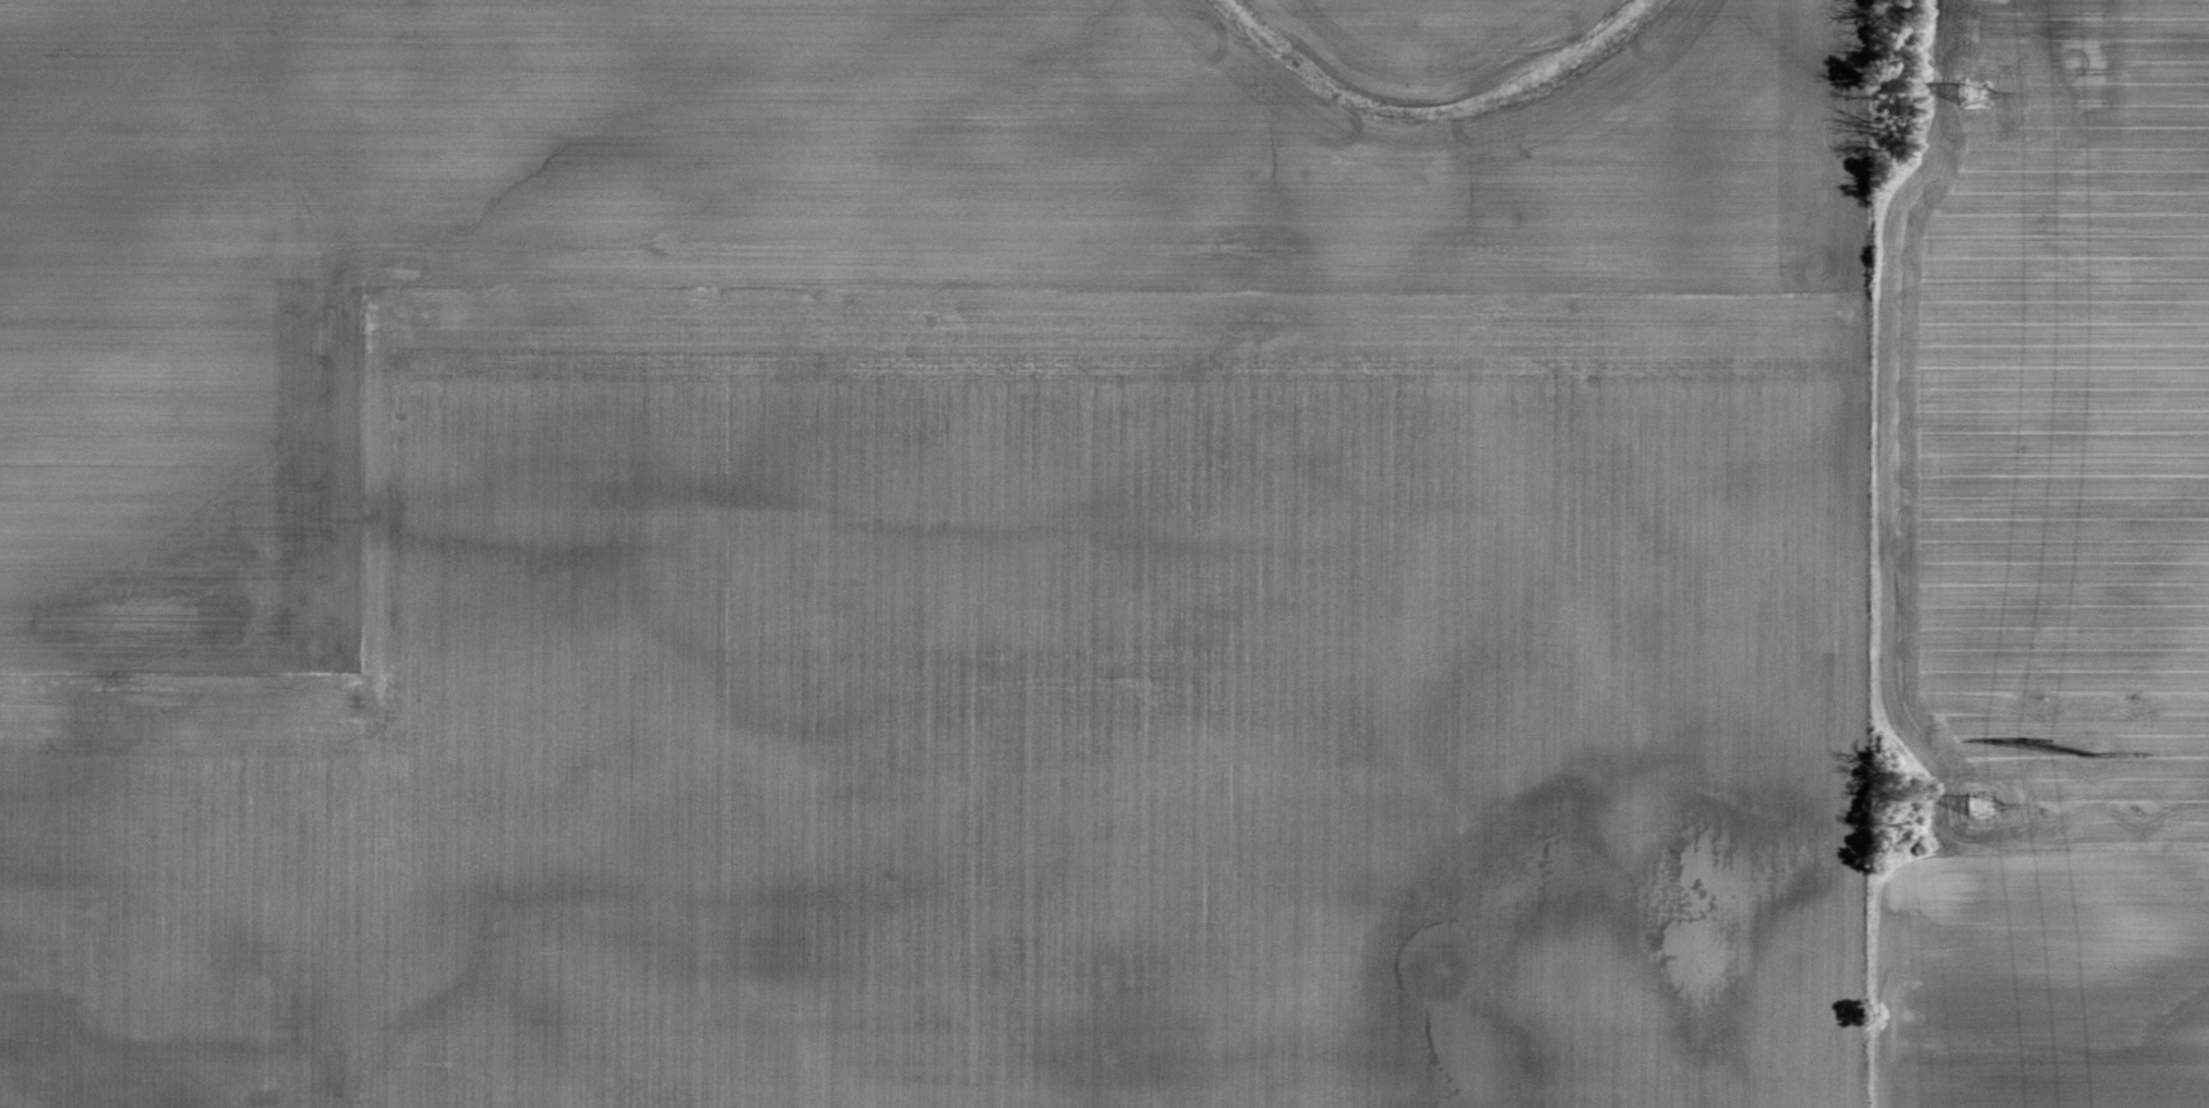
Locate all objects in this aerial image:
power tower: (1972, 93)
power tower: (2088, 752)
power tower: (1983, 803)

